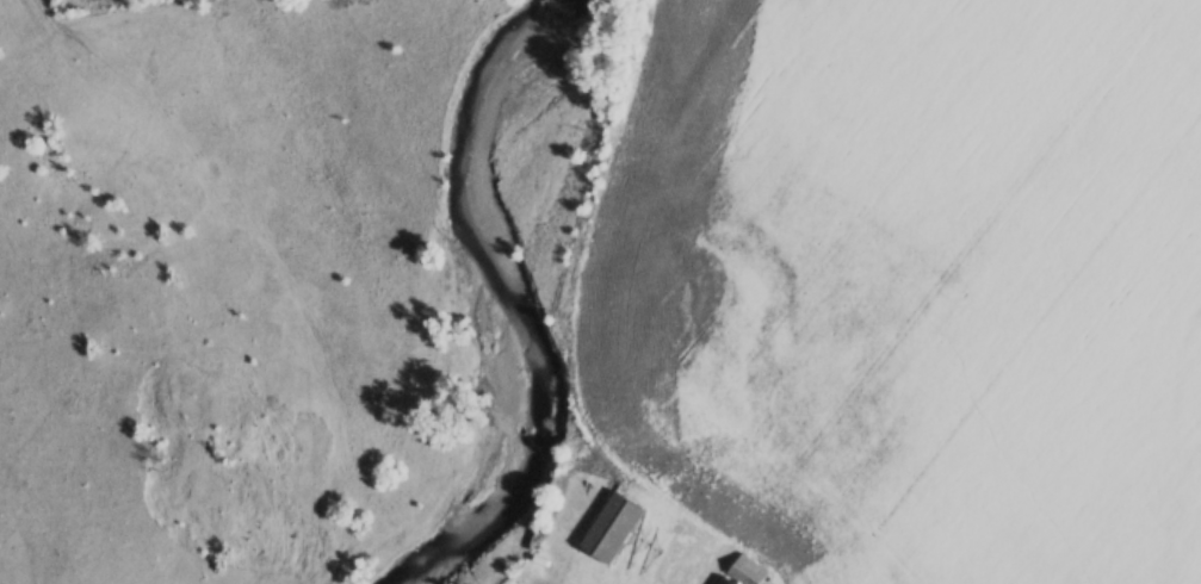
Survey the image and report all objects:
crop: (912, 284)
river: (500, 291)

